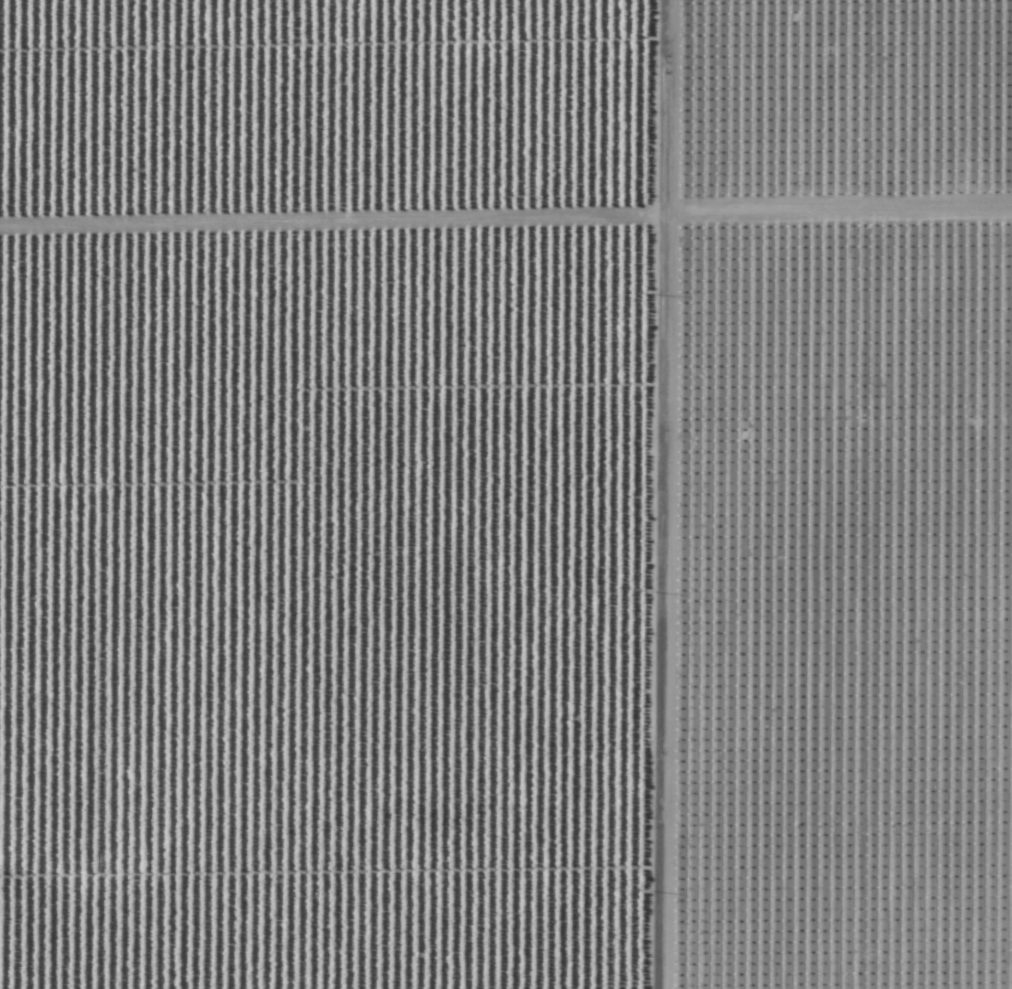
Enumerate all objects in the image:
road: (667, 494)

